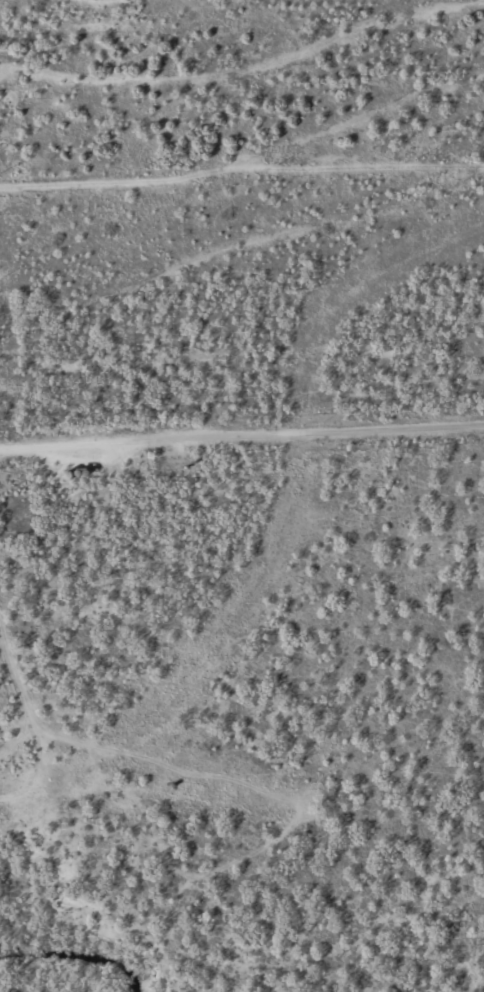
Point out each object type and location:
road: (241, 449)

